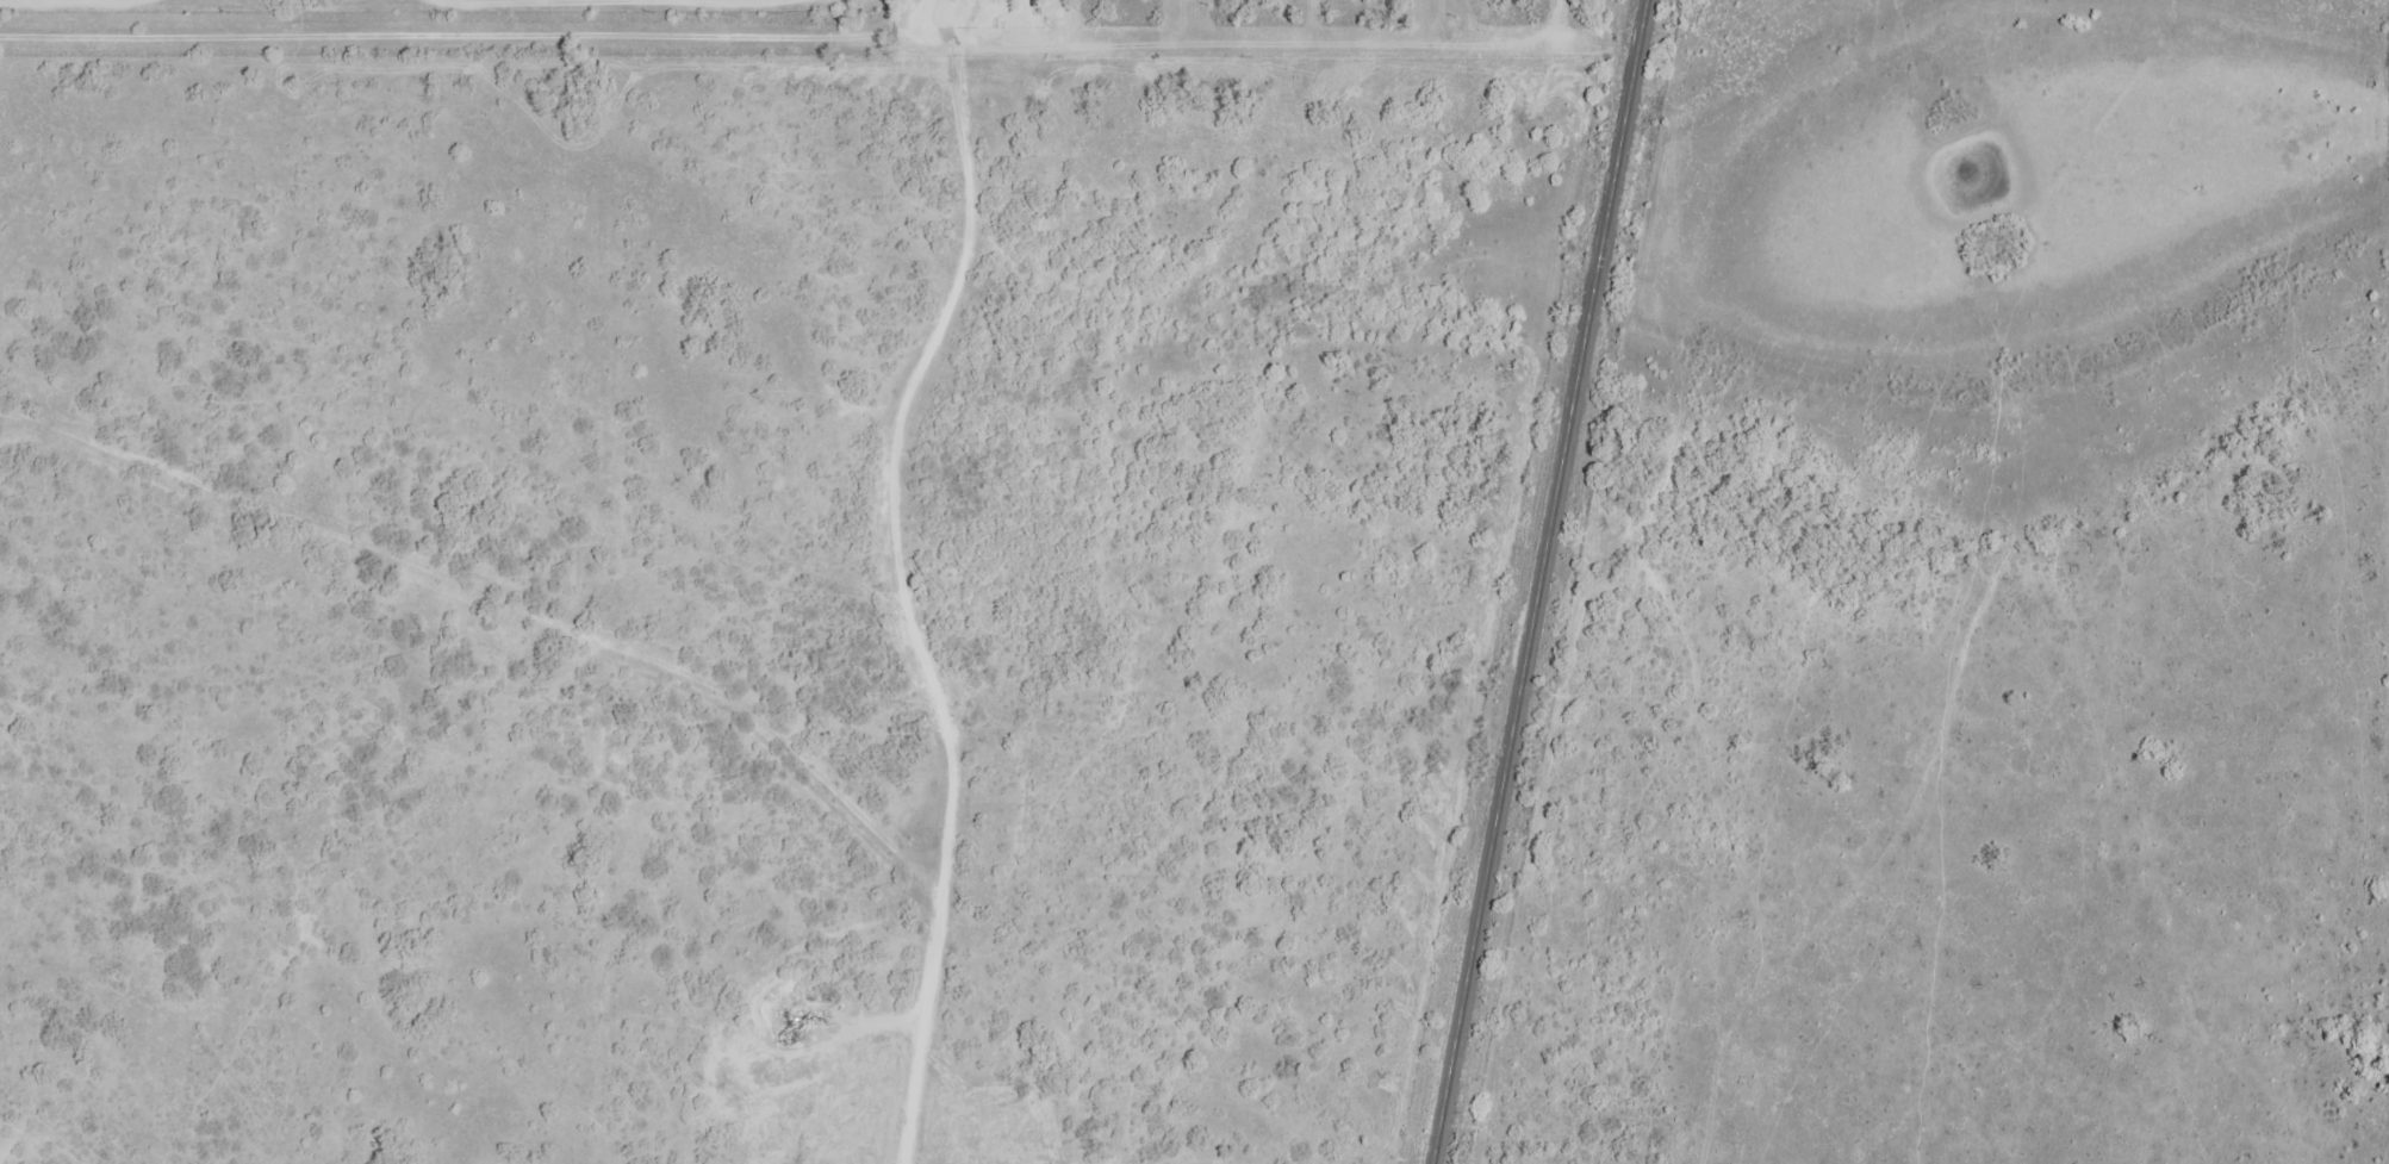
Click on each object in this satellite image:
road: (941, 6)
road: (1016, 129)
railway: (1541, 581)

